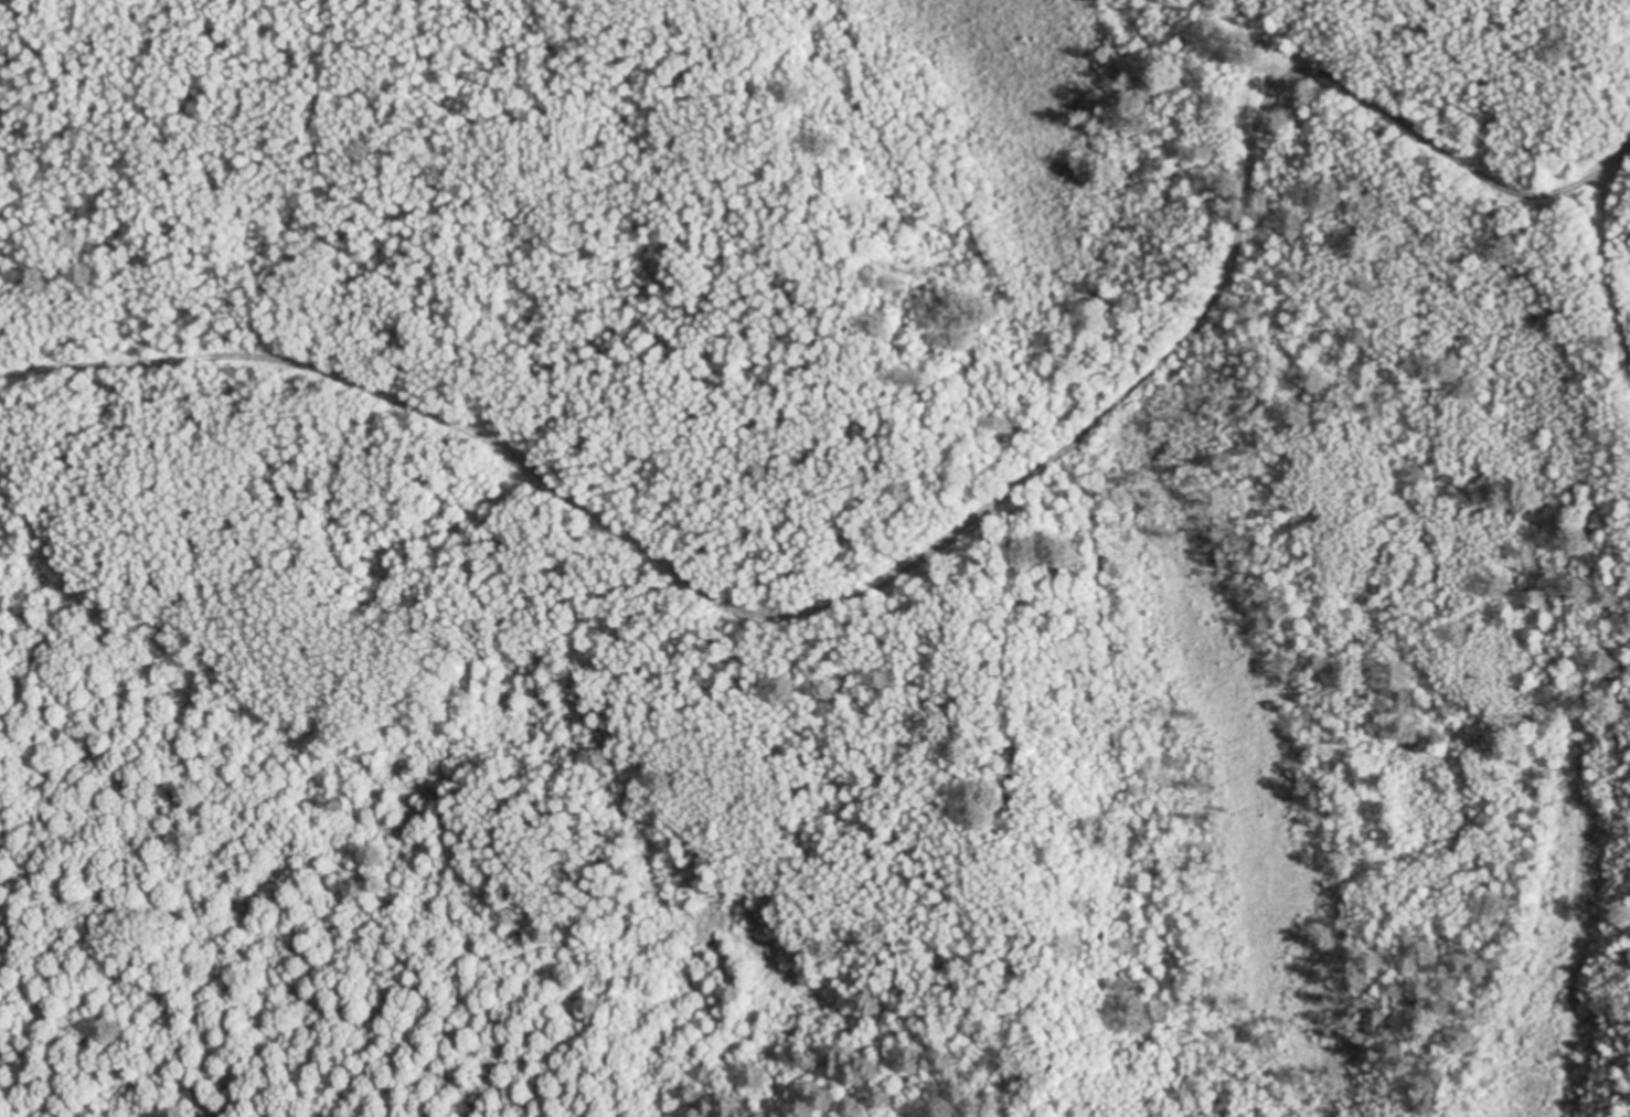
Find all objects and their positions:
road: (1612, 260)
road: (926, 543)

